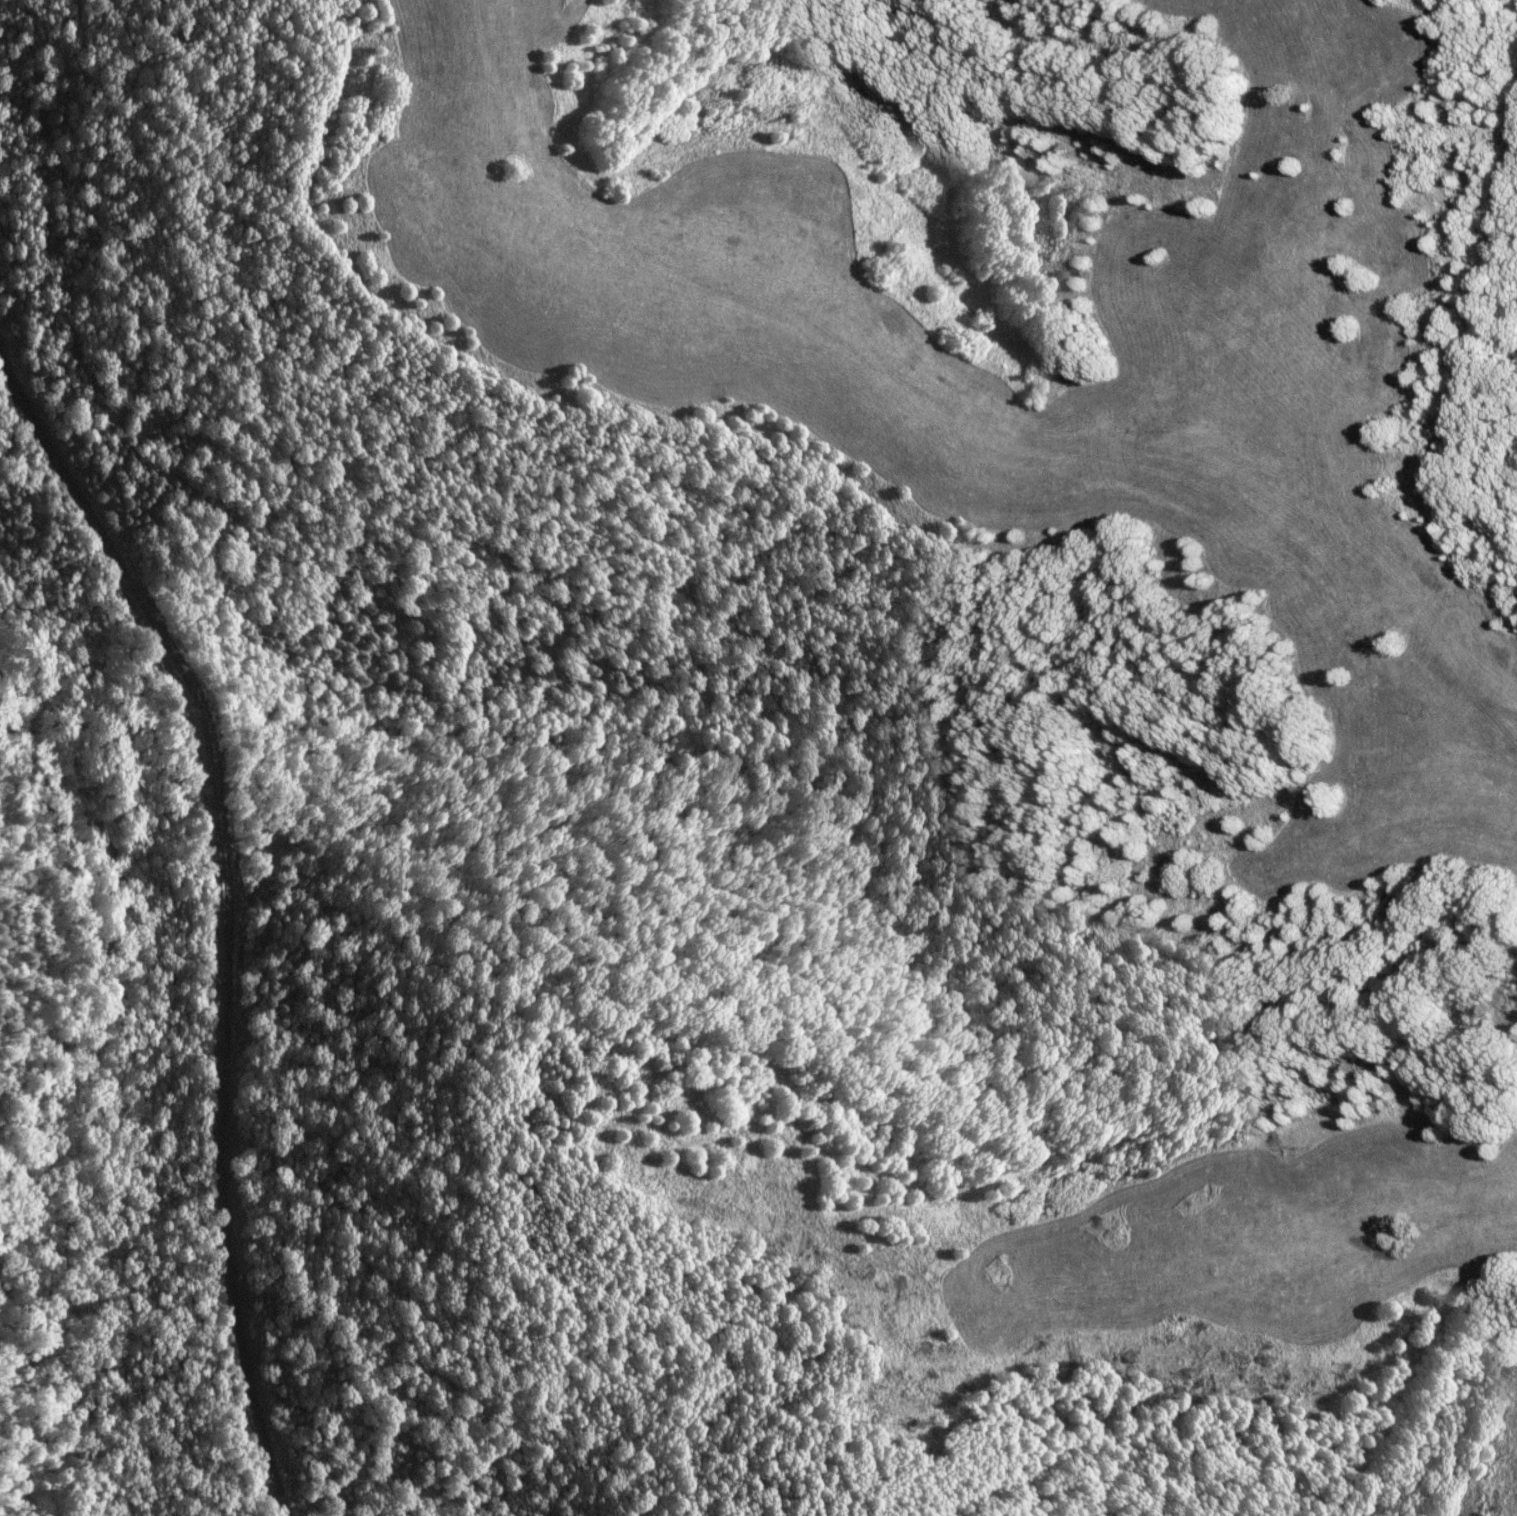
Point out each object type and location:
railway: (198, 948)

